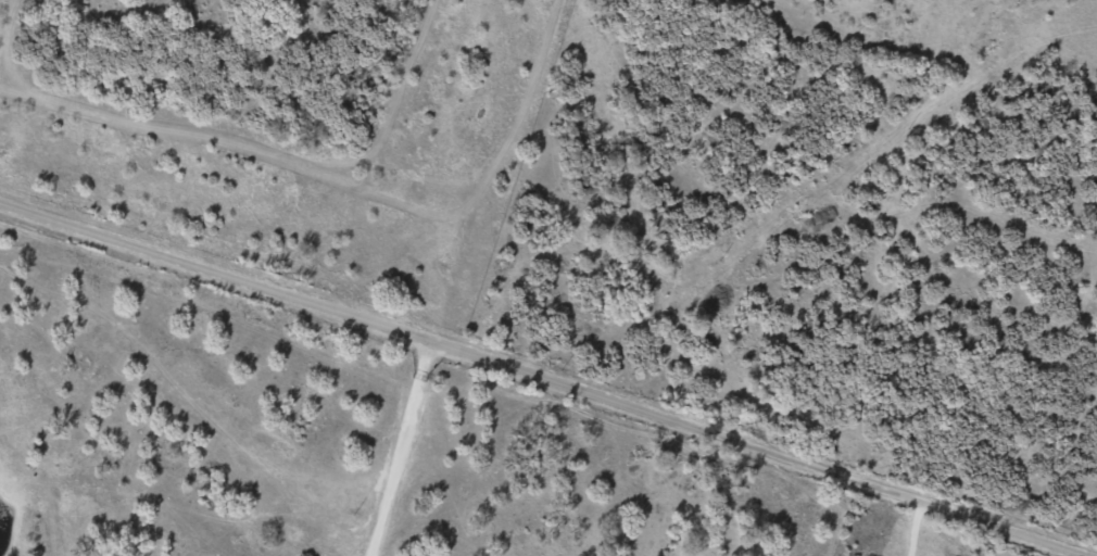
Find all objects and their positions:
road: (544, 380)
road: (399, 448)

